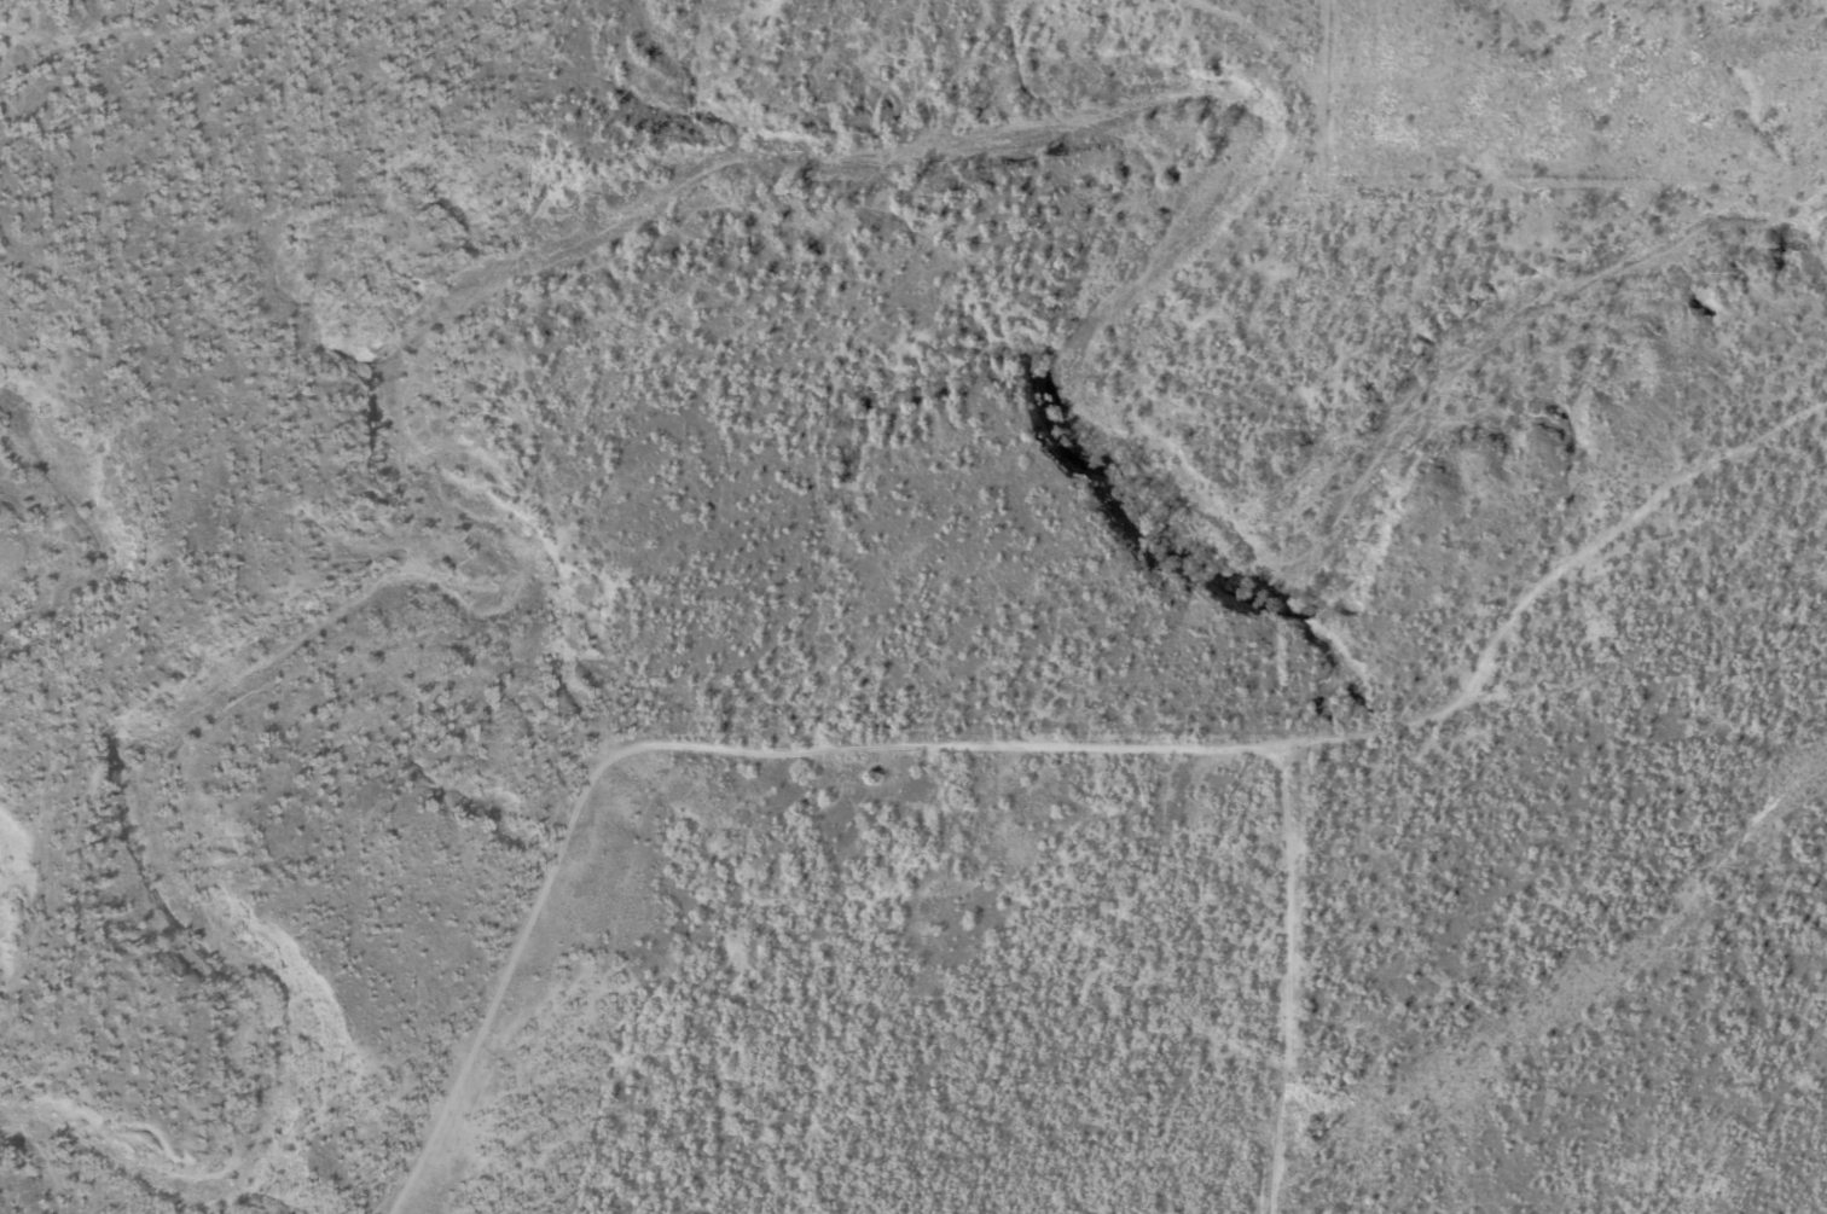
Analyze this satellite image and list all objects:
road: (1452, 695)
road: (611, 832)
road: (1283, 1001)

